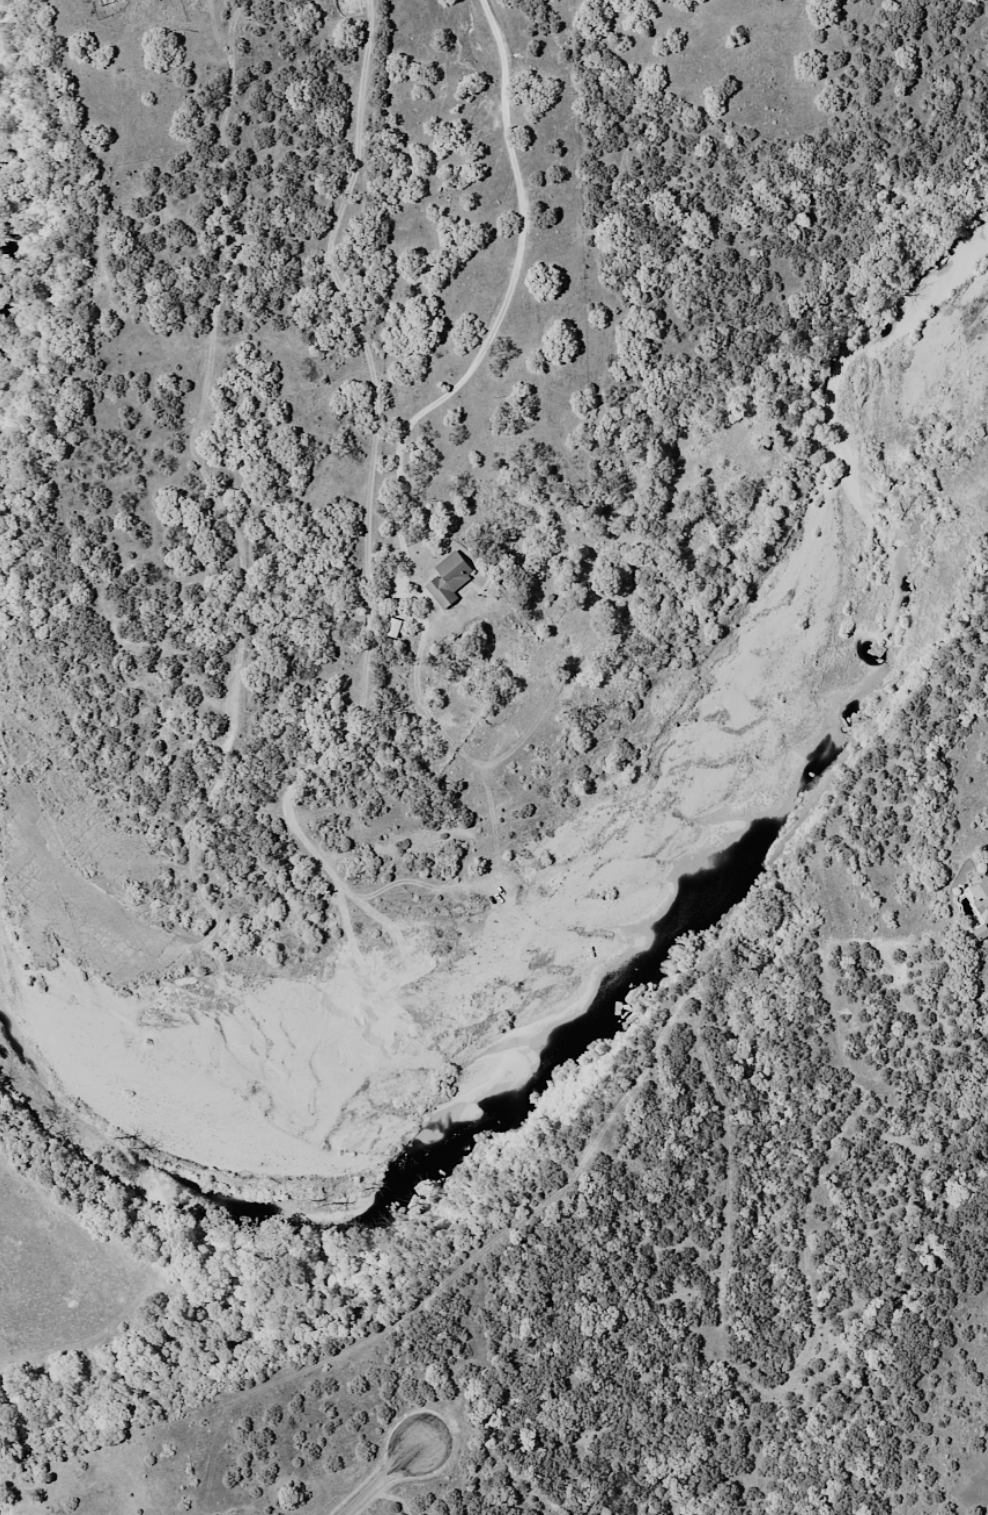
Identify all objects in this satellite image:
building: (103, 1)
river: (6, 212)
road: (596, 247)
road: (498, 311)
road: (244, 557)
building: (448, 579)
building: (392, 628)
building: (983, 882)
building: (986, 908)
building: (983, 932)
river: (655, 972)
road: (385, 1481)
building: (3, 1514)

